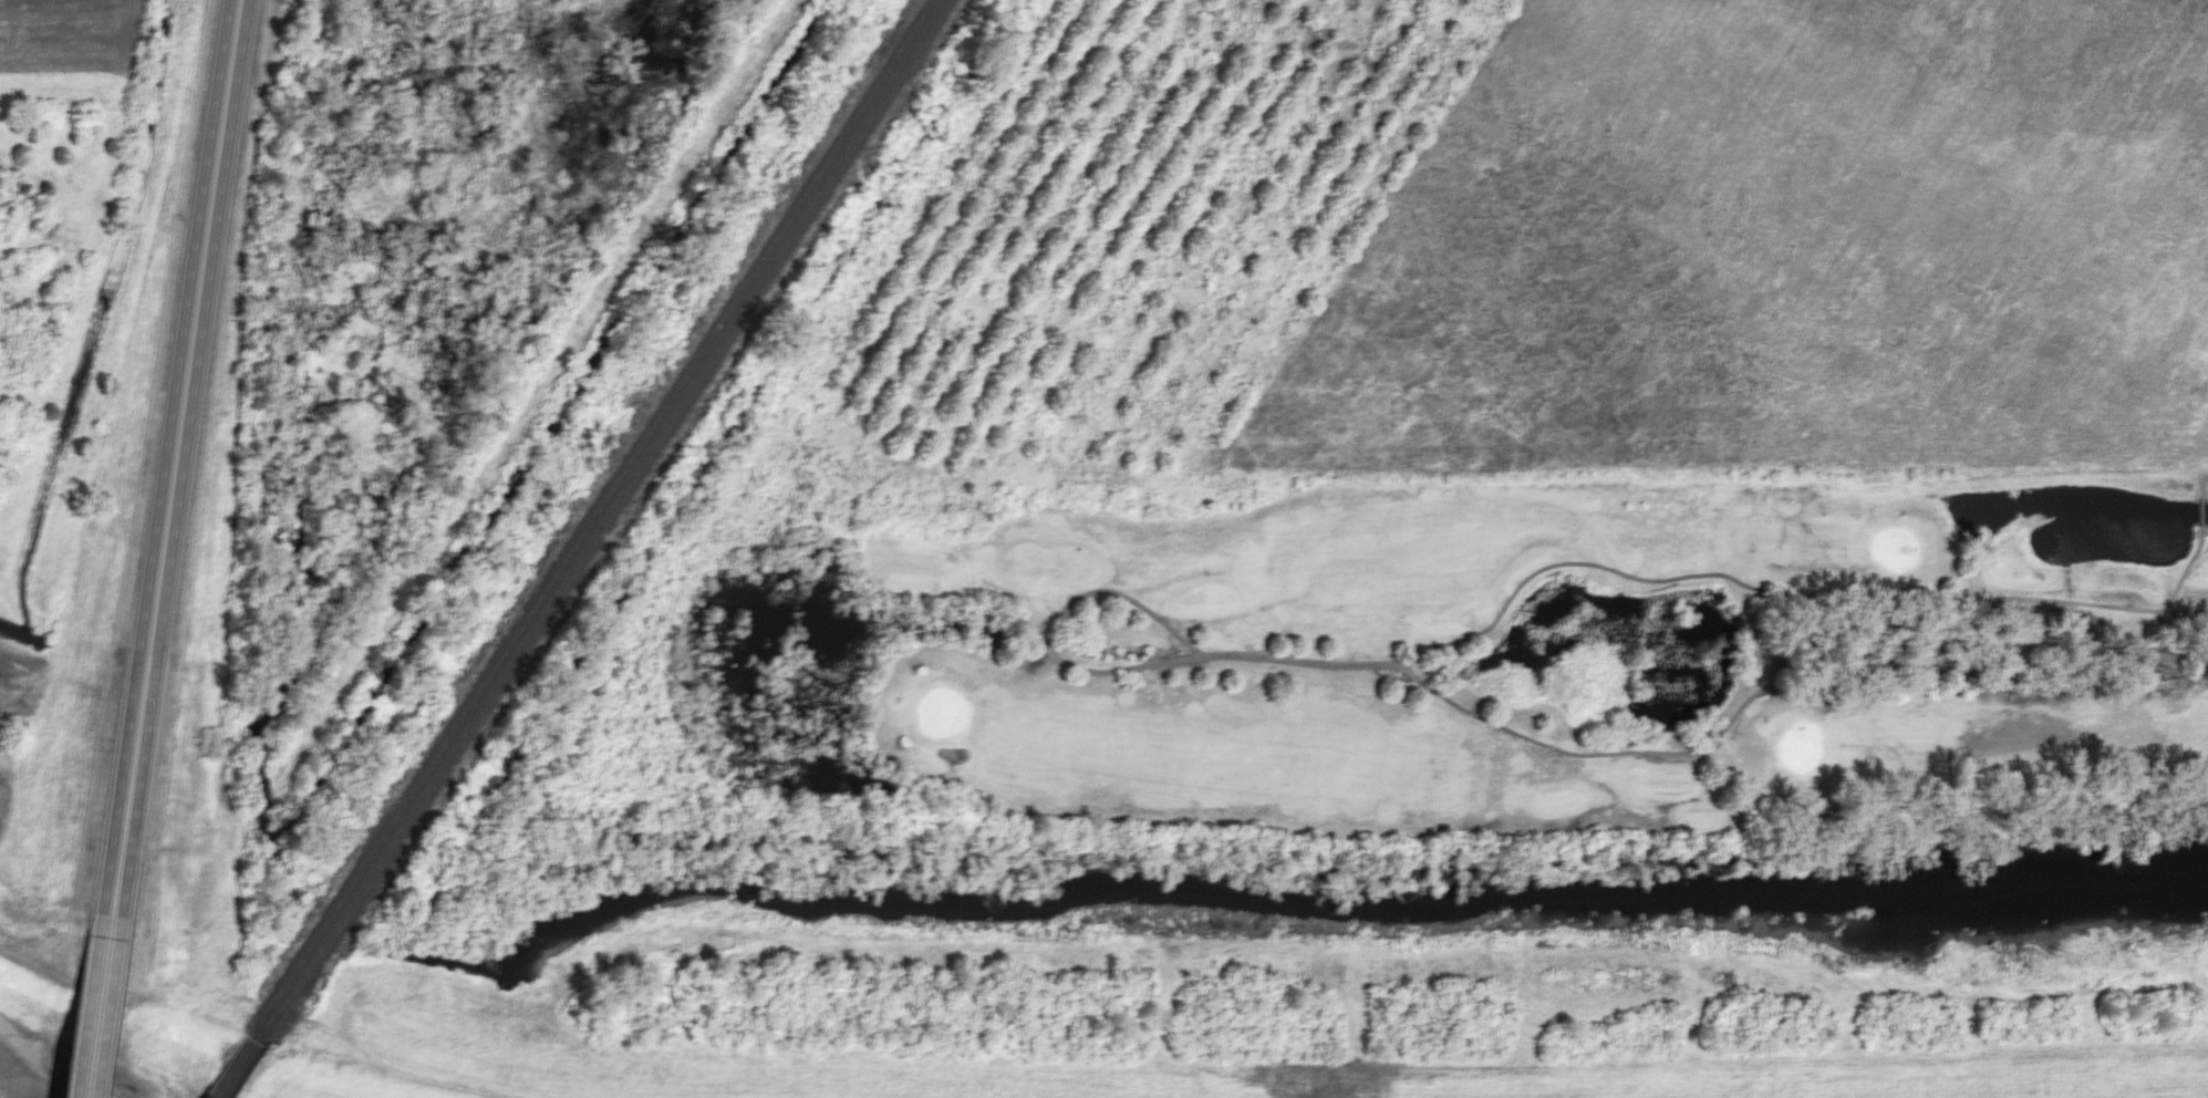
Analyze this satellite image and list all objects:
road: (174, 456)
railway: (588, 519)
railway: (598, 521)
road: (1605, 567)
road: (2156, 609)
road: (1054, 625)
park: (1521, 650)
road: (1720, 726)
river: (1346, 900)
road: (82, 1003)
road: (102, 1005)
river: (502, 1024)
railway: (225, 1068)
road: (49, 1071)
railway: (237, 1071)

